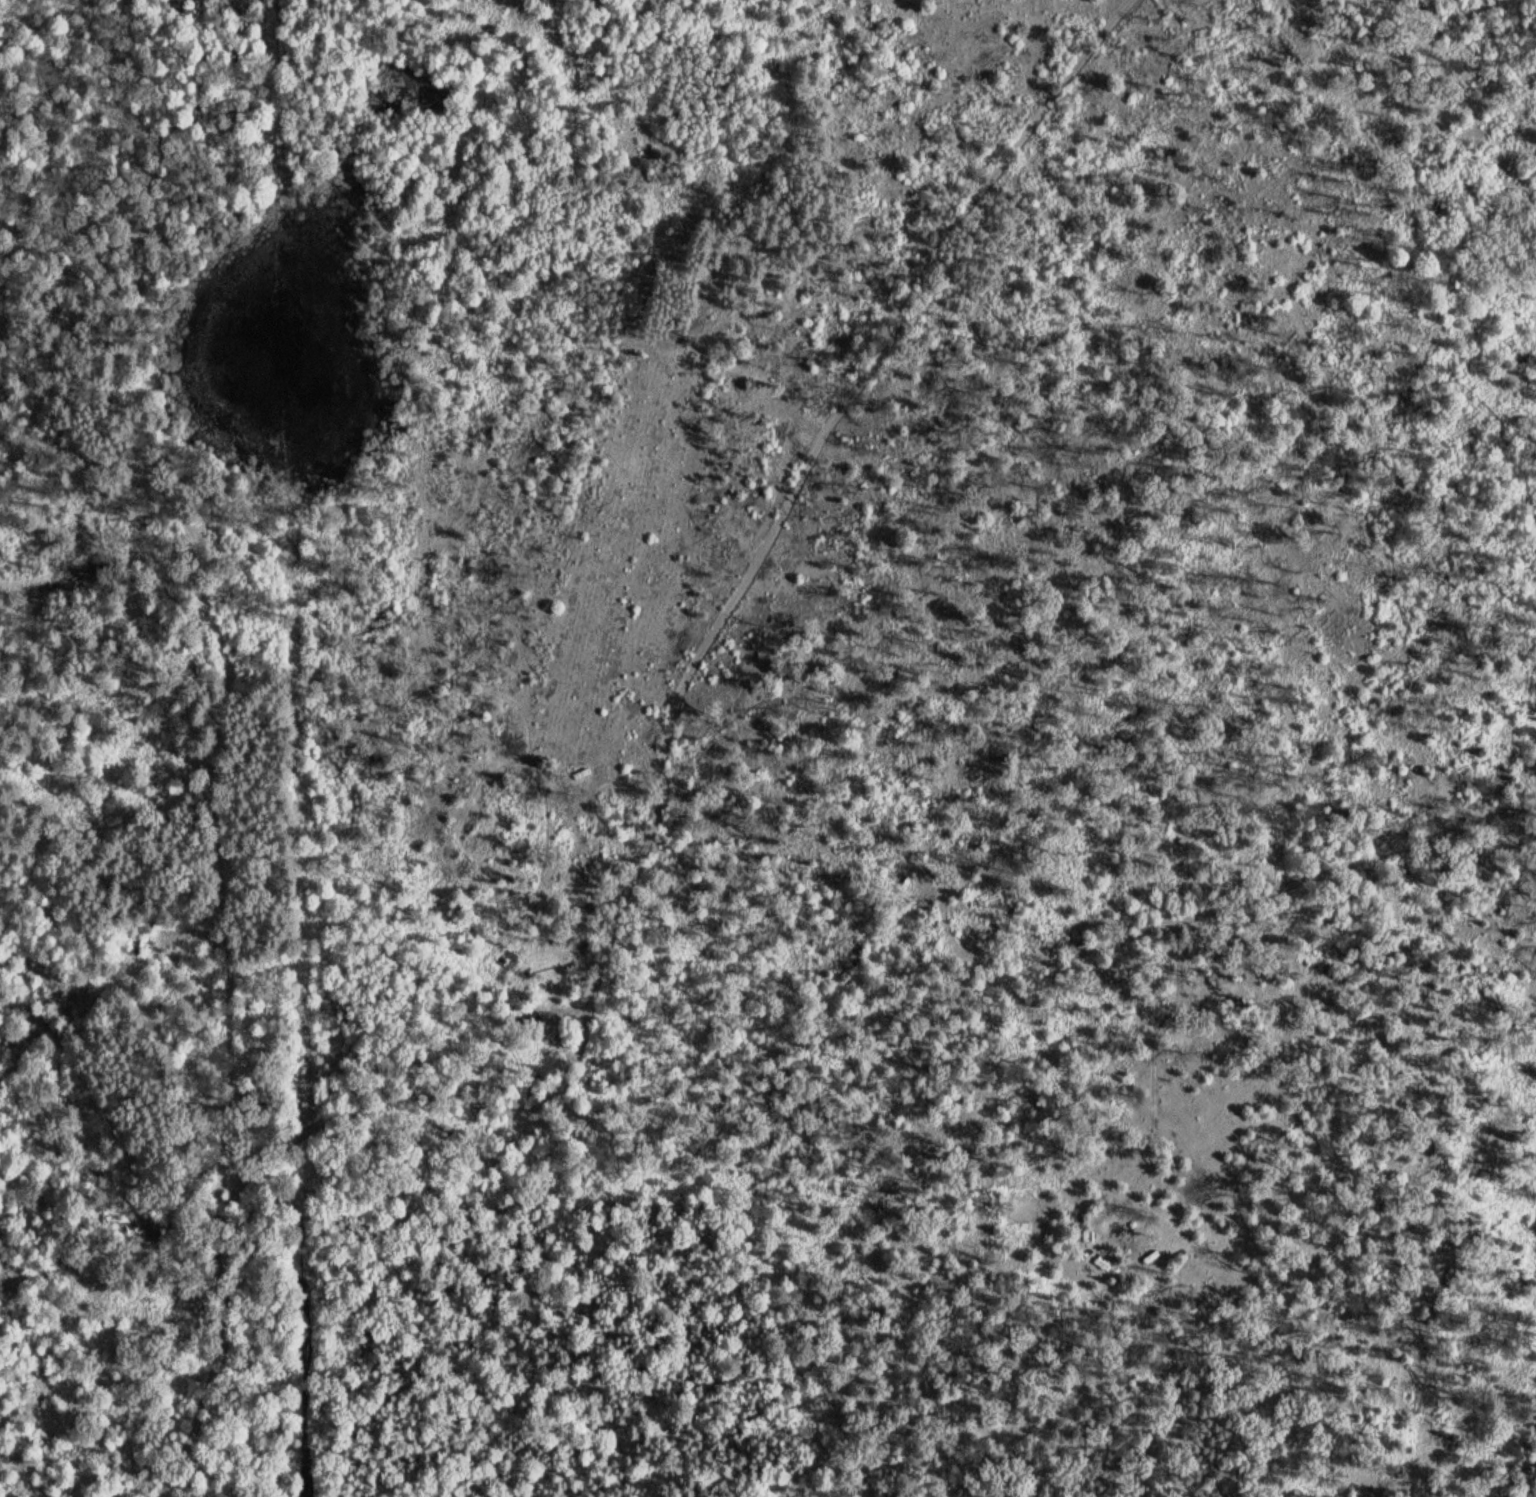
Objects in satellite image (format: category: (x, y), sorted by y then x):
road: (773, 531)
road: (1100, 946)
road: (439, 1101)
road: (226, 1348)

